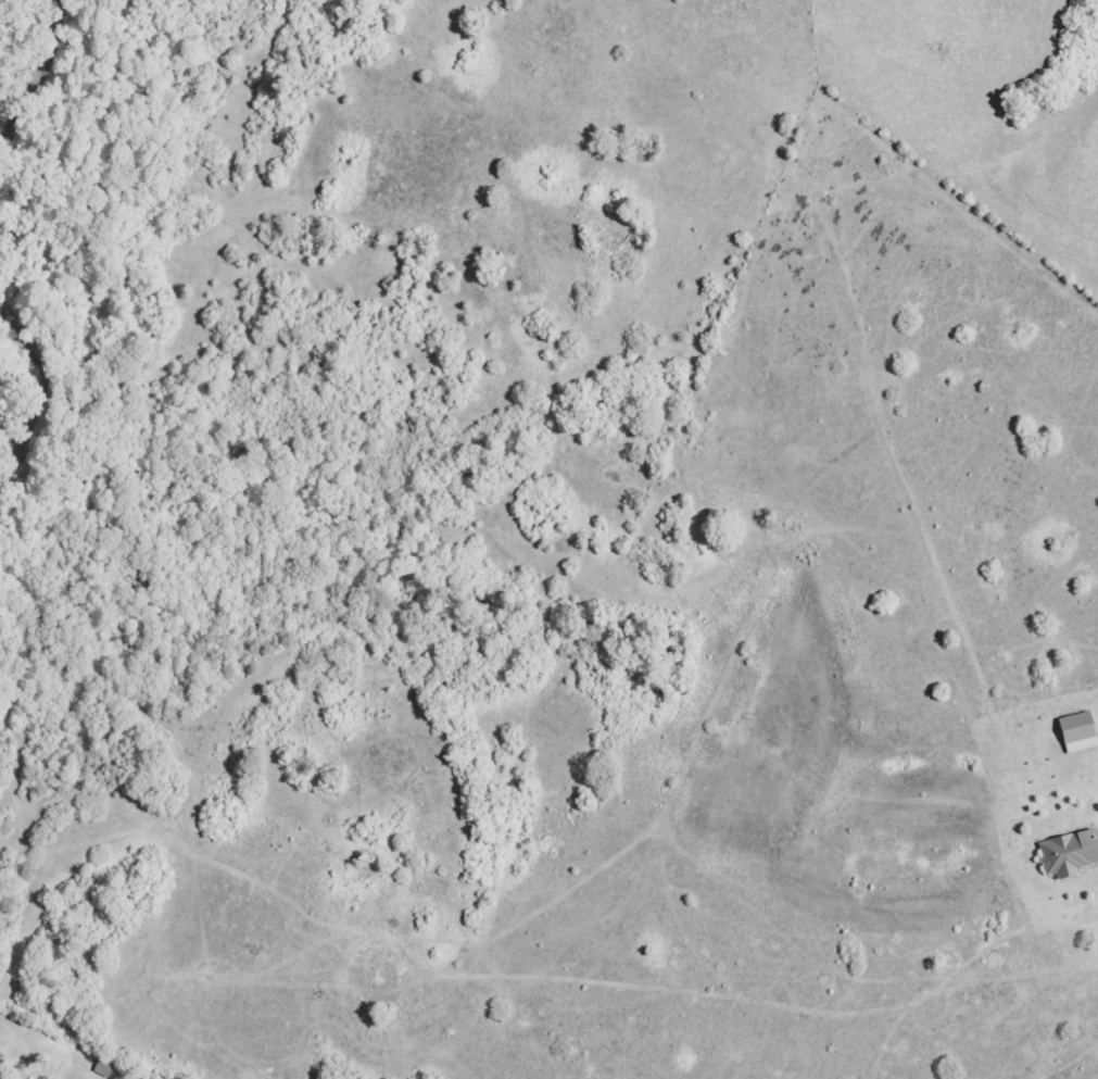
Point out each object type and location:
building: (1080, 735)
building: (1070, 856)
building: (105, 1069)

